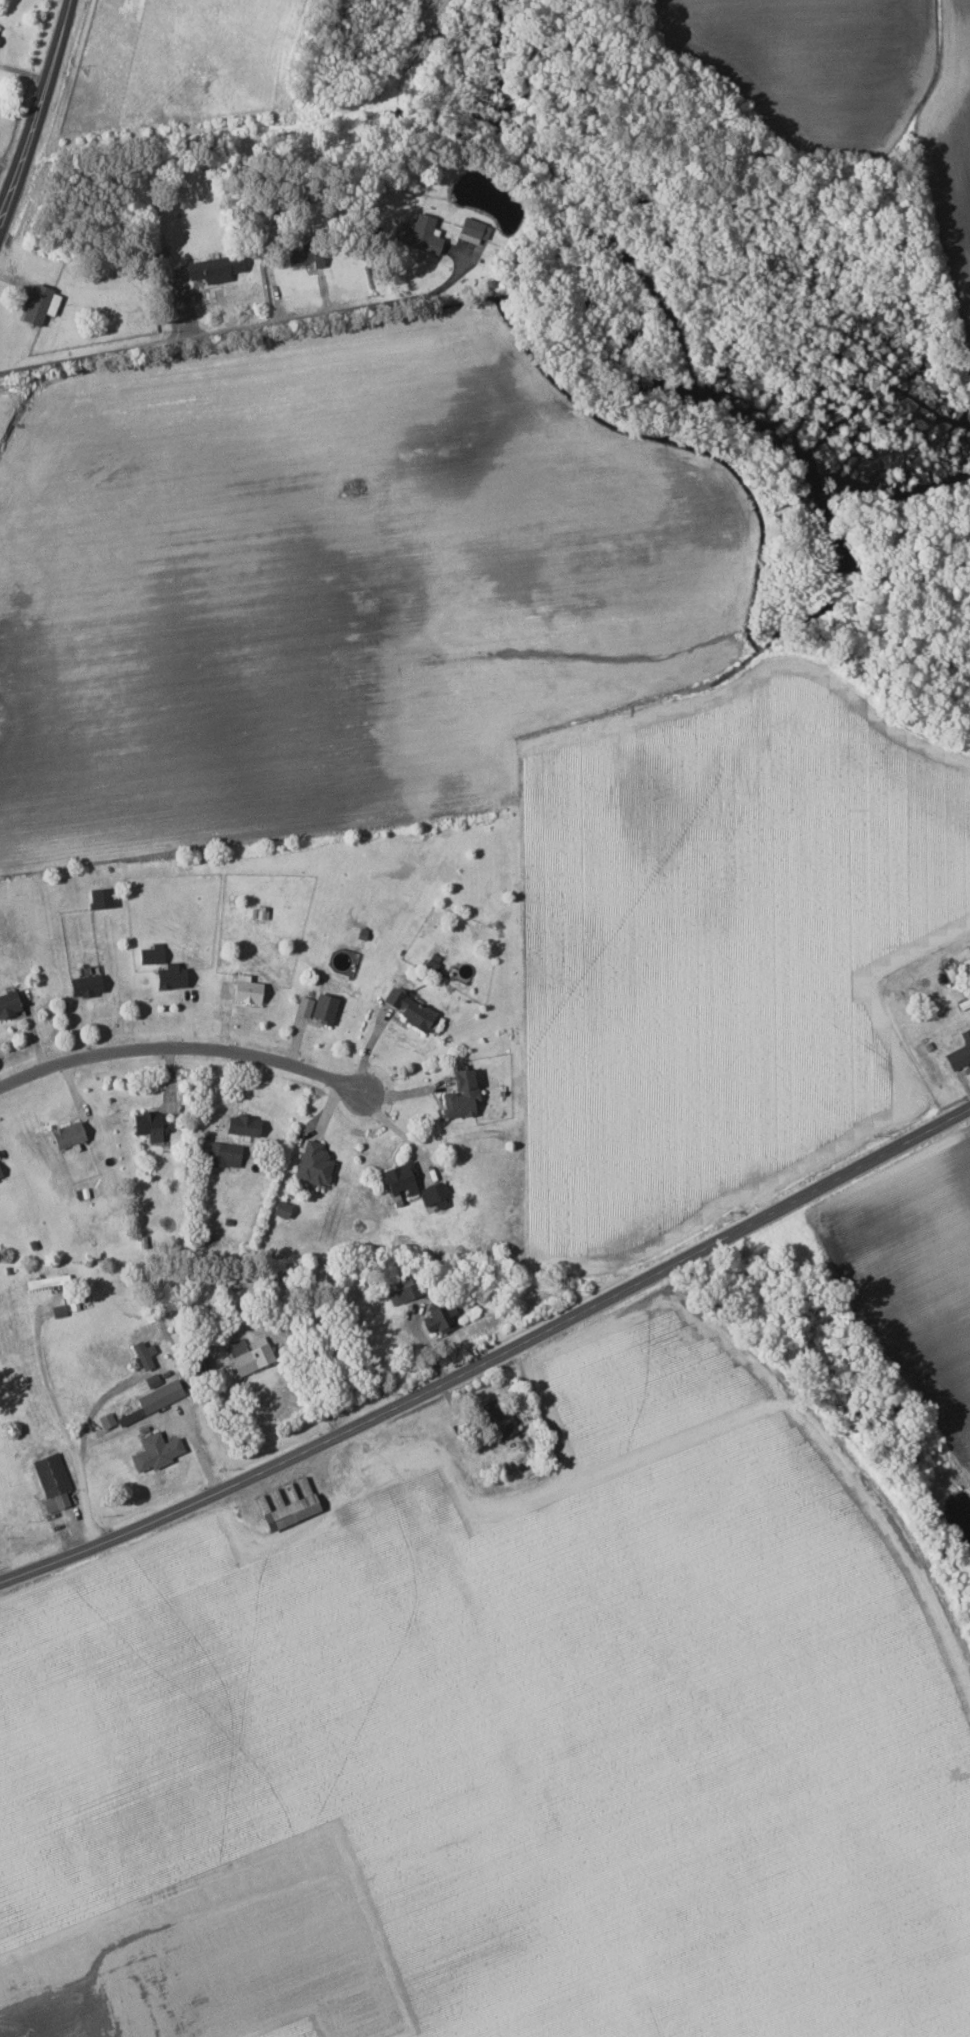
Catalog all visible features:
road: (42, 114)
building: (470, 230)
building: (419, 235)
building: (302, 256)
building: (212, 267)
building: (37, 303)
road: (241, 336)
building: (98, 897)
building: (149, 953)
building: (168, 976)
building: (82, 984)
building: (244, 991)
building: (9, 1003)
building: (301, 1006)
building: (321, 1008)
building: (407, 1009)
road: (184, 1047)
building: (958, 1051)
building: (458, 1094)
building: (146, 1125)
building: (239, 1125)
building: (64, 1134)
building: (222, 1151)
building: (311, 1164)
building: (0, 1175)
building: (397, 1179)
building: (433, 1196)
building: (280, 1208)
building: (401, 1291)
building: (437, 1317)
building: (142, 1354)
building: (246, 1355)
road: (490, 1357)
building: (150, 1381)
building: (157, 1396)
road: (88, 1410)
road: (170, 1413)
building: (127, 1416)
building: (496, 1417)
road: (65, 1426)
building: (152, 1451)
building: (50, 1481)
building: (285, 1512)

